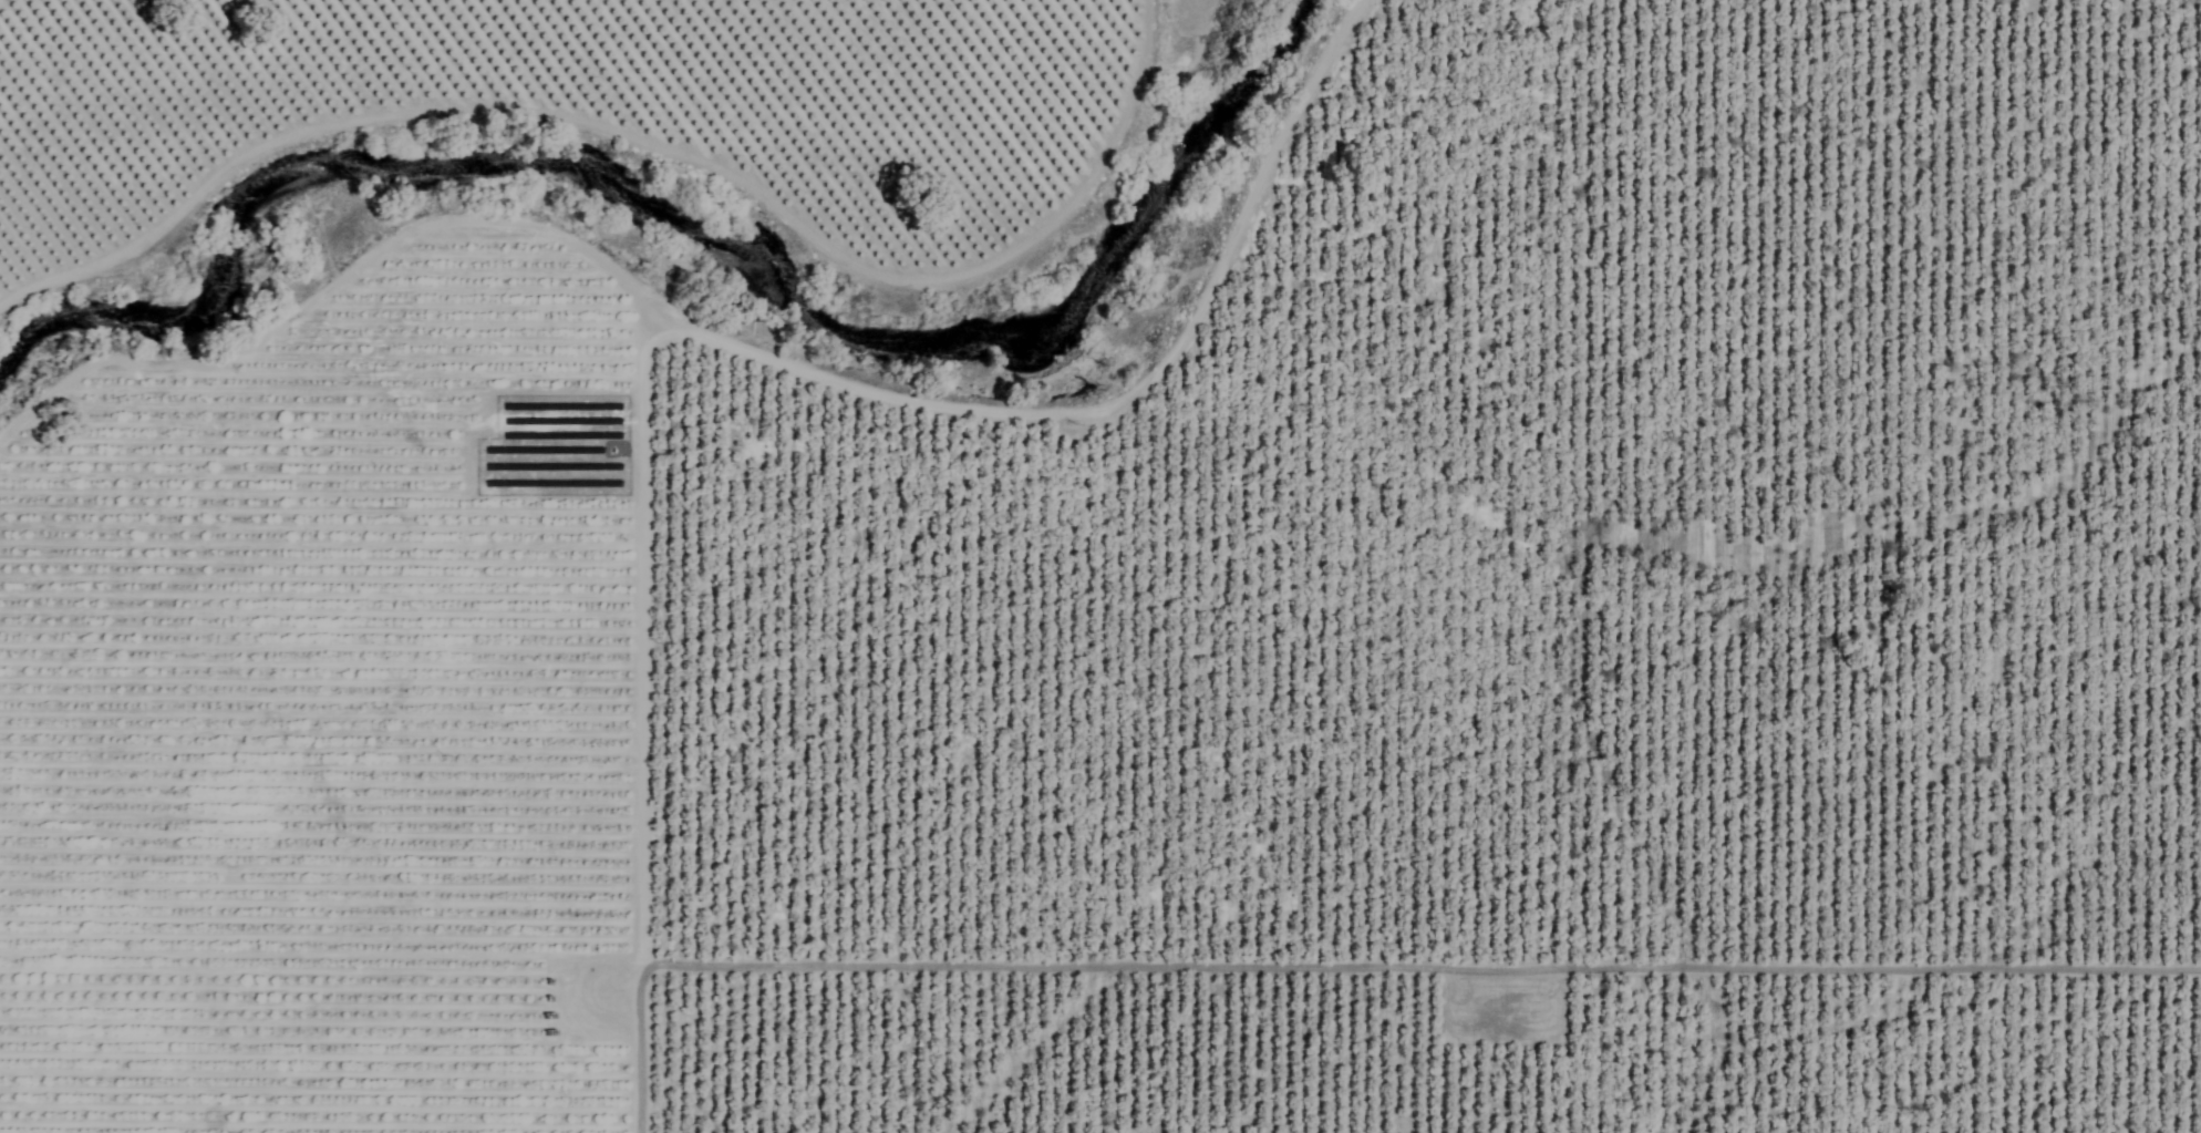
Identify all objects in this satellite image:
crop: (1105, 584)

